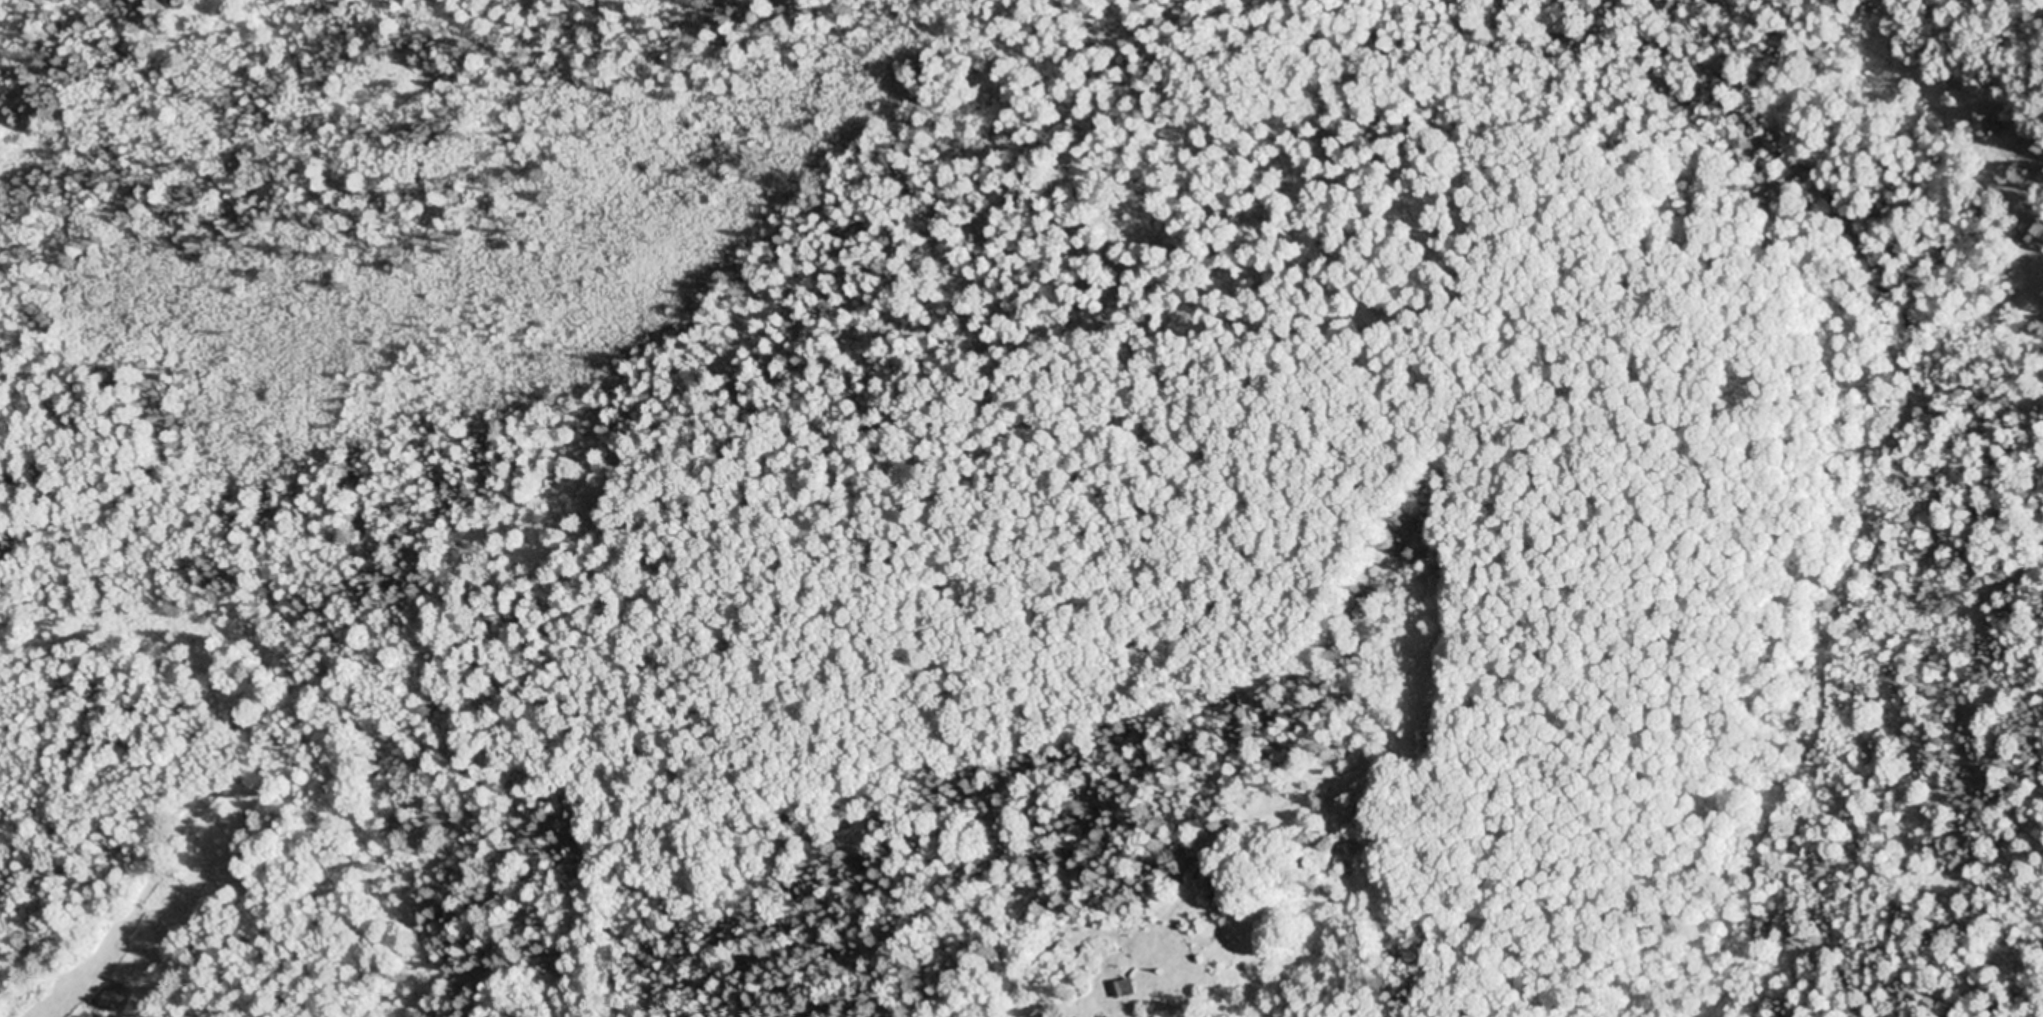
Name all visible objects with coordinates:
building: (1123, 988)

